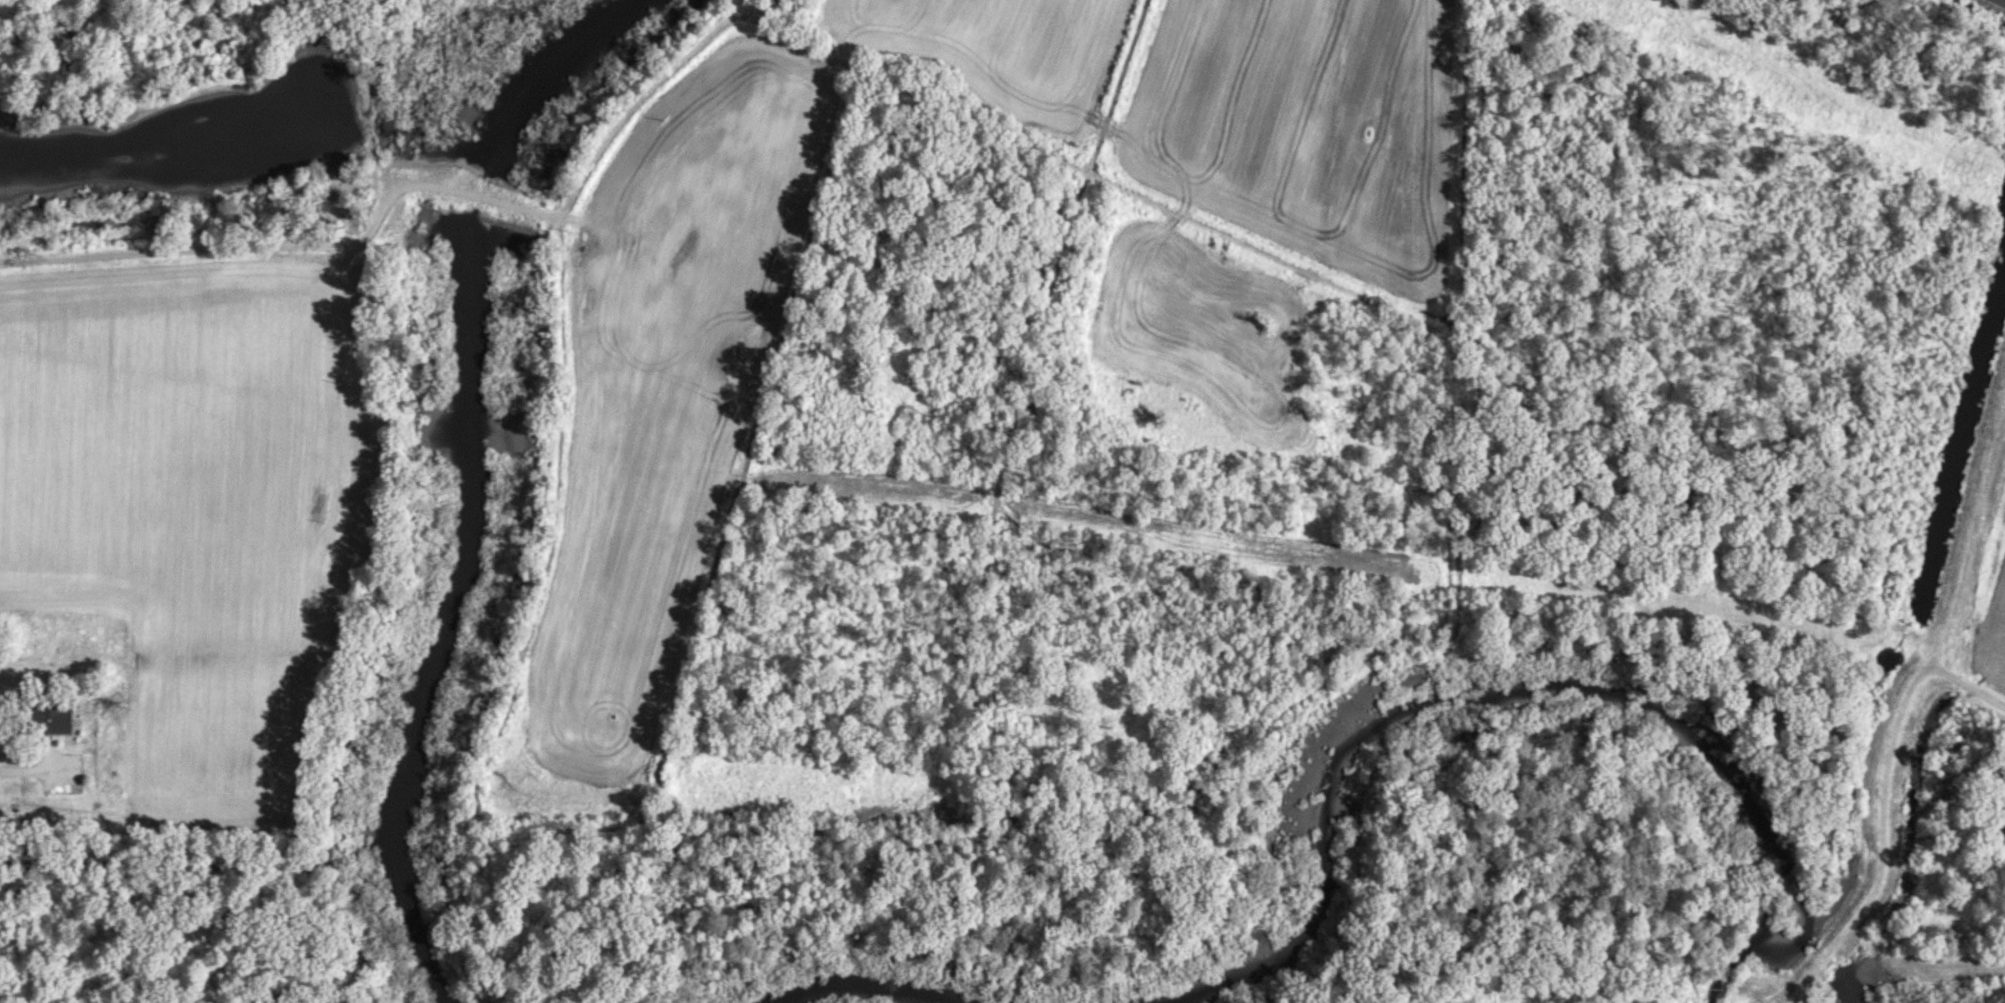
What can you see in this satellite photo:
road: (29, 765)

